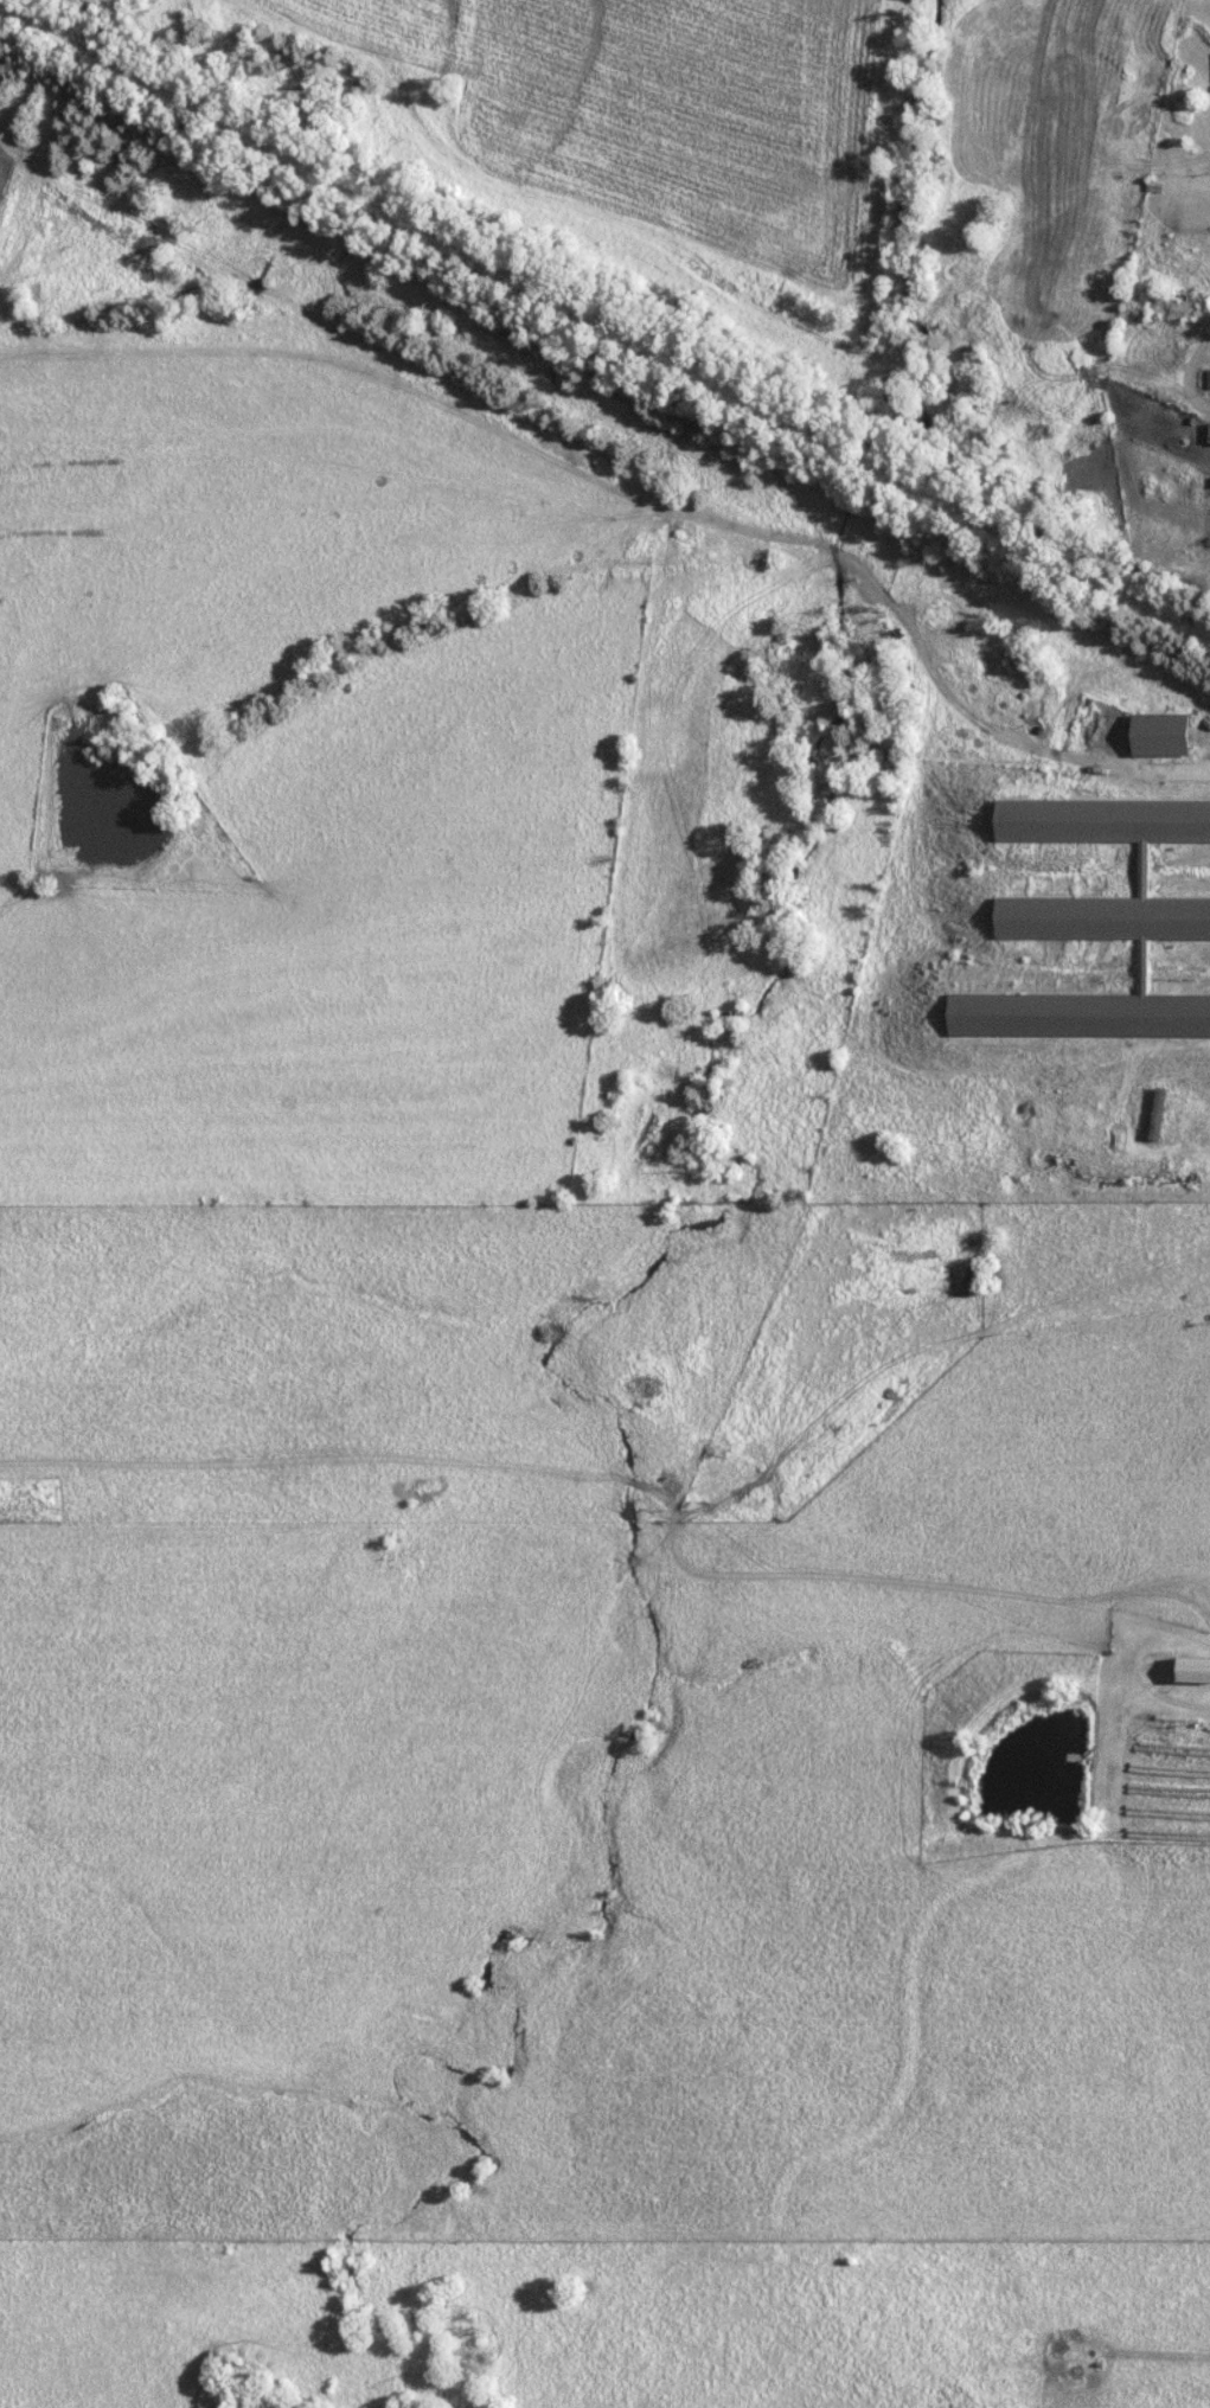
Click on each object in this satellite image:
building: (1208, 383)
building: (1208, 434)
building: (1158, 735)
building: (1094, 923)
building: (1155, 1113)
building: (1191, 1669)
building: (1073, 2385)

